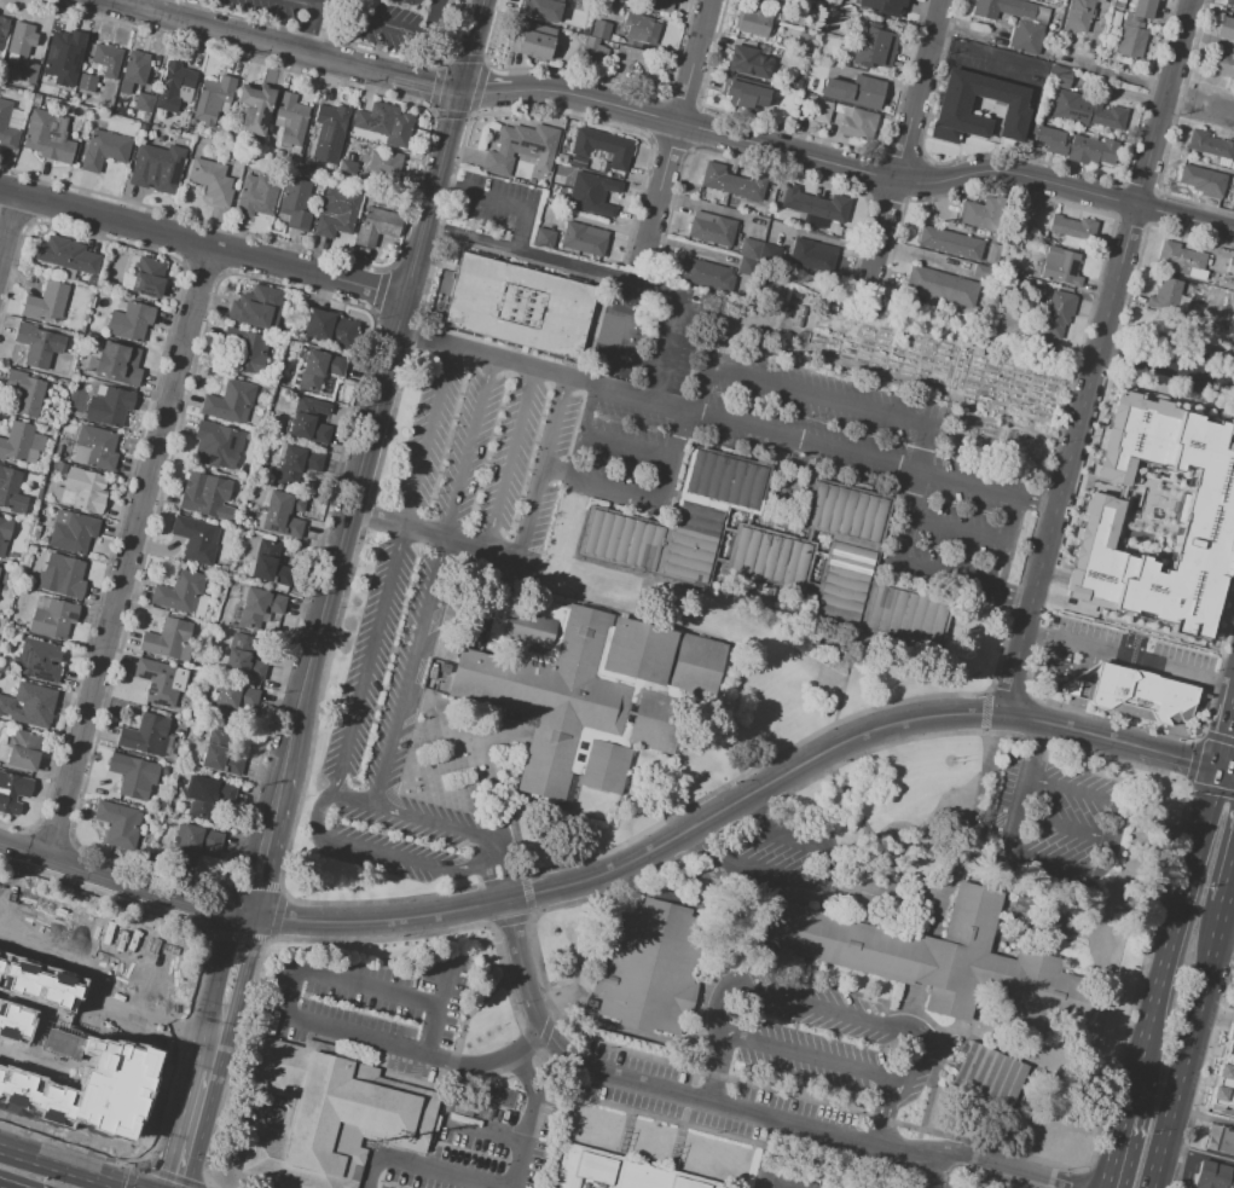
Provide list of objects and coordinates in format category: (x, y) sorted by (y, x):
building: (606, 0)
building: (1039, 0)
building: (622, 1)
road: (114, 2)
building: (1229, 2)
building: (882, 5)
building: (543, 6)
building: (659, 6)
building: (1008, 10)
building: (1079, 16)
road: (372, 23)
building: (754, 25)
road: (308, 28)
building: (1226, 28)
building: (642, 29)
building: (2, 30)
building: (1135, 30)
building: (599, 31)
building: (1026, 37)
building: (22, 39)
road: (243, 40)
building: (534, 41)
building: (804, 44)
road: (473, 45)
building: (869, 45)
building: (58, 48)
building: (590, 52)
building: (106, 59)
road: (691, 59)
building: (748, 63)
building: (1222, 64)
building: (135, 68)
building: (28, 71)
building: (1059, 76)
building: (69, 81)
building: (87, 82)
road: (425, 86)
building: (29, 87)
building: (174, 87)
road: (917, 88)
building: (853, 89)
traffic signals: (460, 91)
road: (486, 91)
building: (743, 92)
building: (68, 94)
building: (75, 95)
building: (212, 99)
building: (35, 100)
building: (144, 102)
building: (255, 109)
building: (954, 109)
building: (1085, 111)
building: (819, 112)
building: (144, 117)
building: (290, 117)
building: (378, 117)
building: (358, 120)
building: (15, 123)
building: (859, 126)
road: (702, 127)
building: (7, 128)
building: (399, 129)
building: (330, 132)
building: (48, 135)
building: (1053, 140)
building: (586, 143)
building: (1210, 145)
building: (520, 147)
building: (104, 149)
building: (618, 151)
building: (1091, 151)
building: (278, 153)
building: (386, 164)
building: (157, 168)
building: (297, 168)
building: (602, 168)
building: (347, 169)
building: (717, 180)
building: (212, 181)
building: (1204, 181)
road: (452, 185)
building: (596, 186)
road: (1064, 187)
road: (657, 189)
building: (751, 190)
building: (256, 196)
road: (498, 196)
building: (798, 201)
parking lot: (498, 202)
building: (295, 204)
building: (592, 207)
building: (834, 210)
building: (336, 211)
building: (981, 215)
building: (376, 225)
building: (712, 230)
building: (1072, 231)
road: (10, 232)
road: (877, 233)
road: (470, 238)
building: (544, 238)
building: (585, 241)
road: (203, 244)
building: (950, 244)
building: (749, 249)
building: (801, 254)
building: (66, 255)
building: (992, 255)
building: (823, 260)
building: (1183, 262)
building: (1060, 267)
building: (1229, 267)
road: (595, 270)
building: (983, 273)
building: (705, 274)
building: (149, 277)
building: (940, 288)
building: (1164, 292)
building: (46, 302)
building: (256, 307)
building: (520, 307)
building: (1058, 314)
building: (131, 321)
building: (318, 324)
building: (343, 331)
building: (91, 338)
building: (36, 343)
building: (1233, 347)
building: (245, 349)
road: (482, 354)
road: (1096, 355)
building: (117, 364)
road: (664, 364)
road: (1166, 365)
building: (319, 369)
building: (24, 390)
road: (812, 394)
building: (230, 401)
building: (109, 406)
building: (308, 421)
road: (429, 436)
road: (371, 437)
road: (601, 439)
road: (812, 440)
building: (19, 441)
building: (215, 445)
building: (95, 447)
road: (473, 448)
road: (511, 458)
building: (296, 465)
building: (58, 466)
road: (538, 483)
building: (10, 488)
building: (81, 489)
building: (205, 496)
road: (647, 497)
building: (283, 514)
building: (680, 520)
building: (1155, 521)
road: (401, 525)
road: (962, 528)
building: (71, 532)
building: (4, 533)
building: (34, 534)
building: (195, 538)
road: (468, 544)
building: (769, 554)
road: (127, 555)
building: (268, 564)
building: (863, 566)
building: (0, 567)
road: (928, 569)
building: (60, 576)
road: (1001, 583)
building: (231, 584)
building: (180, 592)
parking lot: (406, 599)
building: (259, 605)
building: (52, 618)
building: (164, 638)
building: (242, 657)
road: (371, 659)
road: (1129, 659)
building: (37, 660)
road: (412, 671)
building: (160, 680)
building: (583, 688)
building: (1134, 695)
building: (30, 701)
building: (232, 703)
building: (440, 707)
building: (184, 720)
building: (145, 734)
road: (1228, 747)
building: (23, 749)
building: (220, 753)
traffic signals: (1223, 770)
road: (1228, 771)
building: (133, 775)
building: (12, 792)
building: (209, 795)
road: (741, 795)
road: (283, 798)
road: (355, 798)
building: (954, 818)
building: (118, 823)
road: (451, 827)
road: (278, 841)
building: (196, 845)
road: (253, 848)
road: (386, 851)
road: (116, 882)
road: (500, 888)
road: (1230, 892)
road: (263, 896)
road: (247, 916)
road: (1177, 943)
building: (942, 961)
building: (654, 966)
road: (220, 969)
road: (244, 975)
road: (375, 987)
road: (288, 990)
road: (440, 1004)
road: (834, 1010)
parking lot: (822, 1036)
road: (1189, 1047)
road: (212, 1048)
road: (425, 1054)
road: (805, 1057)
building: (990, 1074)
building: (1224, 1077)
road: (535, 1095)
building: (505, 1099)
road: (735, 1106)
building: (328, 1115)
road: (190, 1130)
road: (510, 1137)
building: (1221, 1140)
parking lot: (470, 1141)
road: (1122, 1152)
road: (770, 1153)
road: (1199, 1158)
road: (429, 1166)
road: (62, 1167)
building: (618, 1171)
road: (951, 1173)
road: (963, 1173)
building: (1212, 1177)
road: (776, 1184)

